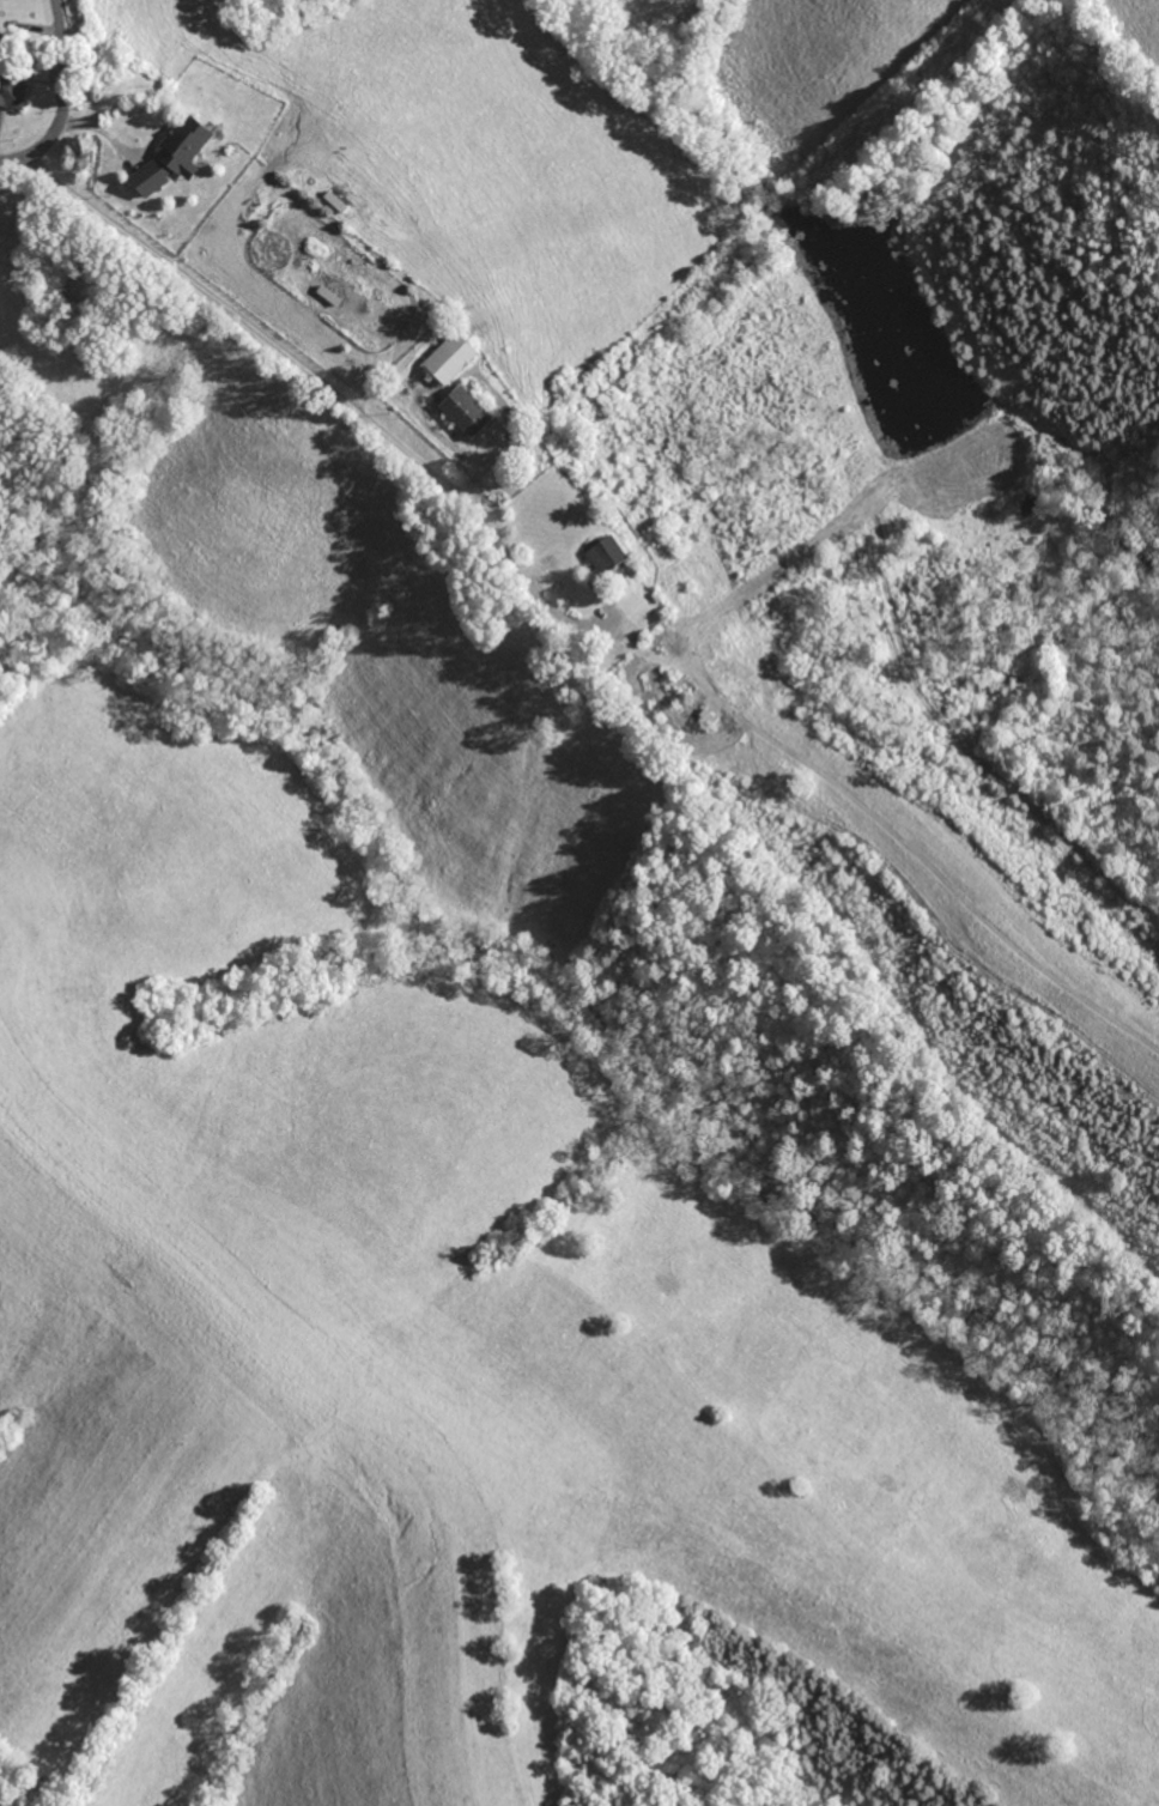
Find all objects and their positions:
building: (18, 93)
road: (66, 101)
building: (192, 145)
building: (156, 177)
building: (455, 357)
road: (274, 372)
building: (469, 411)
building: (614, 556)

